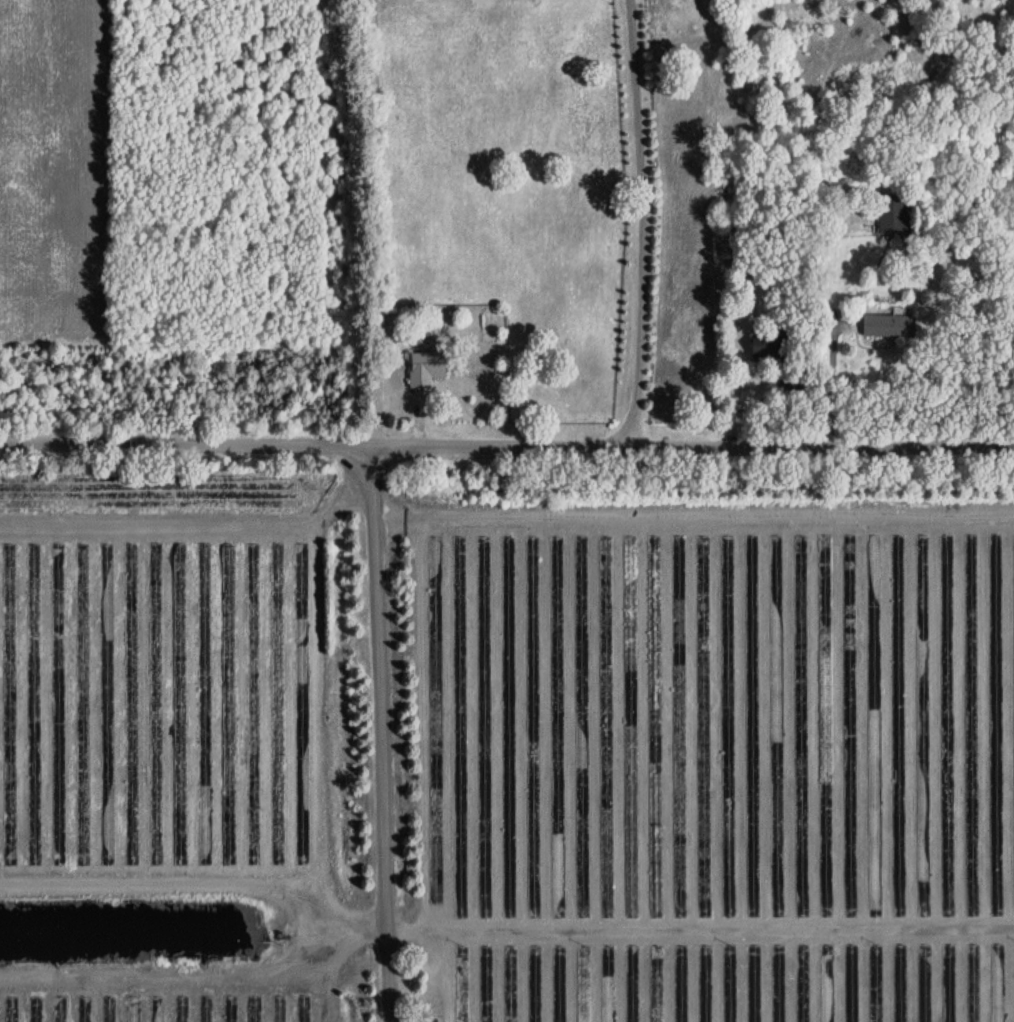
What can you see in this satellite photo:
building: (891, 215)
road: (651, 221)
building: (886, 325)
road: (817, 349)
building: (422, 369)
road: (507, 446)
road: (693, 509)
road: (196, 529)
road: (378, 735)
road: (698, 935)

